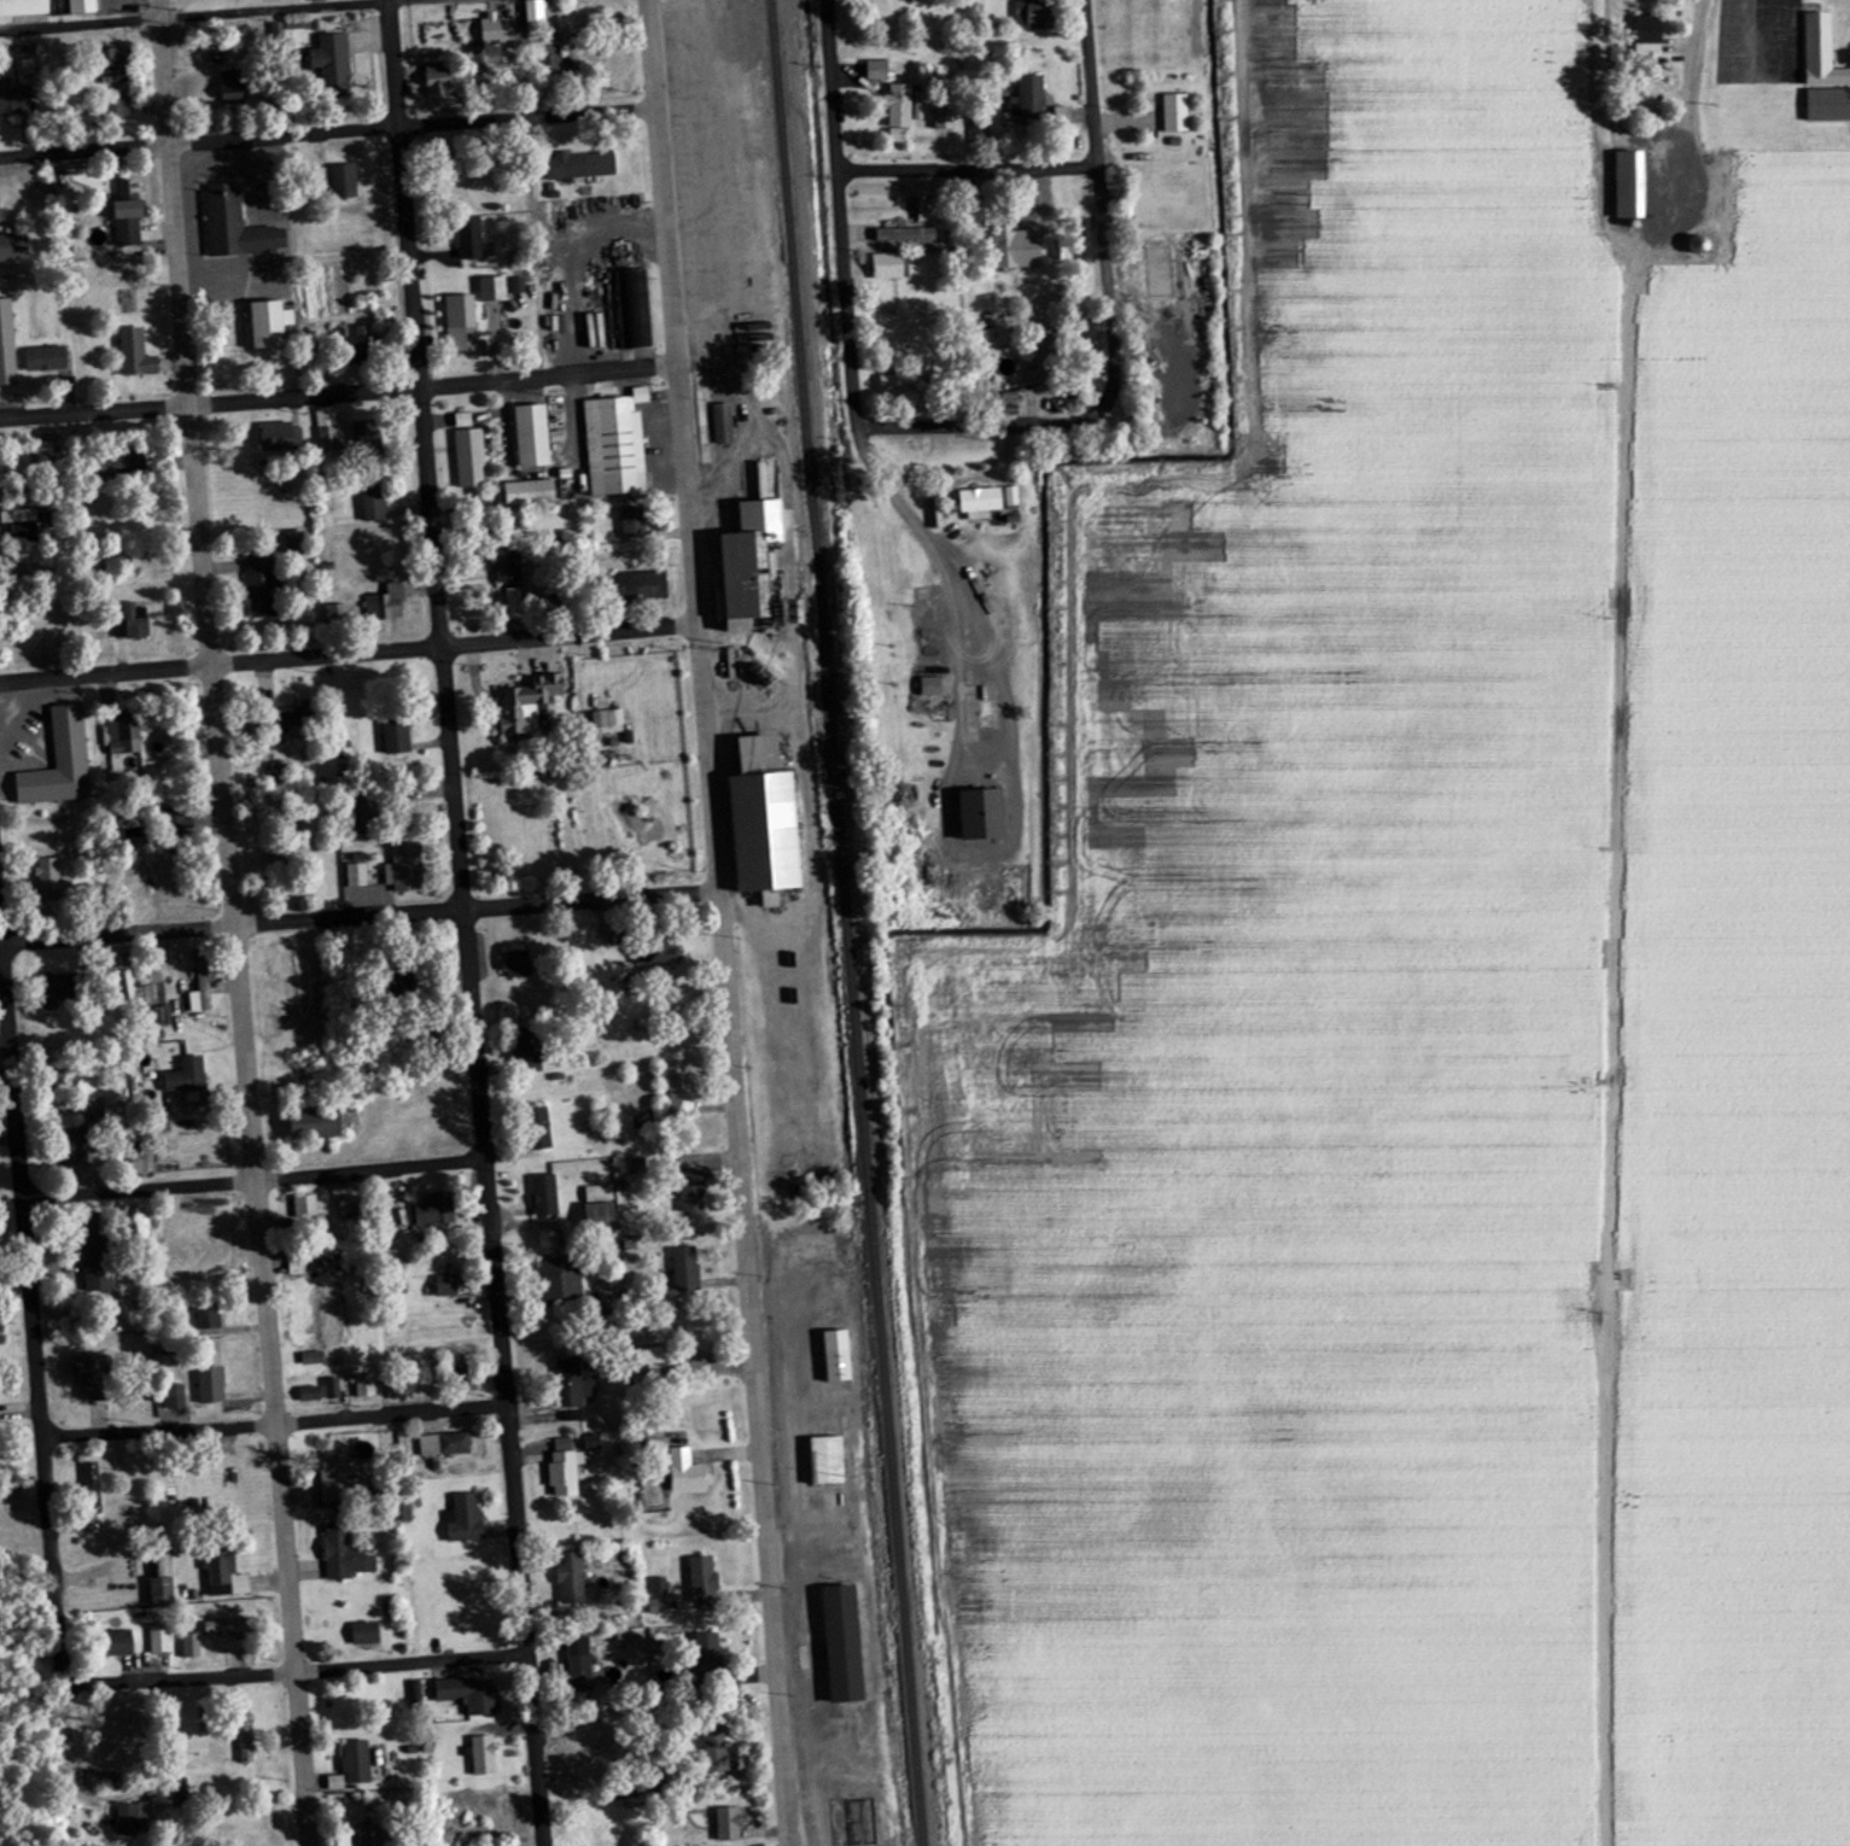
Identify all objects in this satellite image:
building: (320, 0)
building: (83, 7)
building: (24, 8)
road: (202, 12)
building: (536, 14)
building: (1027, 16)
road: (1700, 27)
road: (1780, 30)
building: (500, 31)
building: (1642, 37)
building: (543, 58)
building: (334, 65)
building: (873, 71)
building: (442, 80)
road: (1092, 81)
road: (833, 82)
building: (235, 88)
building: (14, 99)
building: (1025, 99)
building: (122, 104)
building: (1826, 104)
building: (894, 106)
building: (1172, 113)
building: (1058, 116)
building: (939, 118)
building: (977, 128)
road: (327, 130)
building: (894, 136)
road: (968, 169)
building: (346, 182)
building: (2, 212)
building: (129, 214)
building: (238, 227)
building: (900, 235)
building: (463, 238)
building: (14, 247)
building: (1011, 249)
building: (886, 267)
road: (1104, 287)
building: (488, 290)
building: (1039, 293)
building: (634, 310)
building: (273, 323)
building: (456, 325)
building: (591, 332)
building: (366, 338)
building: (7, 343)
building: (138, 355)
building: (48, 360)
building: (891, 381)
road: (338, 391)
building: (1005, 410)
building: (459, 421)
building: (719, 425)
road: (1025, 425)
building: (328, 428)
building: (366, 434)
building: (527, 437)
building: (281, 438)
building: (612, 445)
road: (868, 452)
building: (466, 460)
building: (128, 465)
building: (525, 493)
building: (985, 502)
building: (375, 503)
building: (629, 522)
building: (21, 525)
building: (296, 543)
building: (501, 565)
building: (742, 565)
building: (263, 586)
building: (628, 588)
building: (513, 600)
building: (389, 603)
building: (782, 619)
building: (133, 625)
road: (349, 649)
building: (737, 672)
building: (926, 688)
building: (525, 705)
building: (984, 715)
building: (297, 717)
building: (605, 719)
building: (122, 735)
building: (398, 736)
building: (62, 763)
building: (973, 816)
building: (754, 823)
building: (179, 830)
building: (405, 870)
building: (358, 876)
building: (52, 882)
road: (360, 915)
road: (233, 922)
road: (722, 922)
road: (465, 923)
railway: (850, 923)
building: (655, 956)
building: (519, 964)
building: (62, 987)
building: (203, 993)
building: (533, 1047)
building: (188, 1076)
building: (676, 1097)
building: (542, 1120)
building: (321, 1123)
building: (82, 1146)
road: (253, 1178)
building: (688, 1192)
building: (547, 1197)
building: (351, 1207)
building: (307, 1208)
building: (596, 1208)
building: (437, 1211)
building: (100, 1254)
building: (298, 1268)
building: (682, 1269)
building: (556, 1280)
building: (448, 1286)
building: (606, 1296)
building: (210, 1318)
building: (833, 1356)
building: (314, 1359)
building: (643, 1360)
building: (94, 1377)
building: (568, 1384)
building: (212, 1385)
road: (37, 1386)
building: (367, 1386)
building: (333, 1390)
building: (311, 1395)
building: (177, 1398)
road: (273, 1425)
building: (447, 1445)
building: (823, 1461)
building: (561, 1468)
building: (682, 1472)
building: (338, 1477)
building: (93, 1478)
building: (460, 1519)
building: (346, 1556)
building: (699, 1576)
building: (227, 1577)
building: (566, 1578)
building: (655, 1587)
building: (164, 1593)
building: (654, 1606)
building: (229, 1628)
building: (361, 1634)
building: (161, 1640)
building: (123, 1643)
building: (835, 1645)
building: (192, 1647)
building: (702, 1651)
building: (576, 1667)
road: (296, 1676)
building: (415, 1694)
building: (465, 1695)
building: (243, 1743)
building: (710, 1752)
building: (479, 1756)
building: (349, 1766)
building: (133, 1818)
building: (724, 1824)
building: (364, 1842)
building: (486, 1845)

